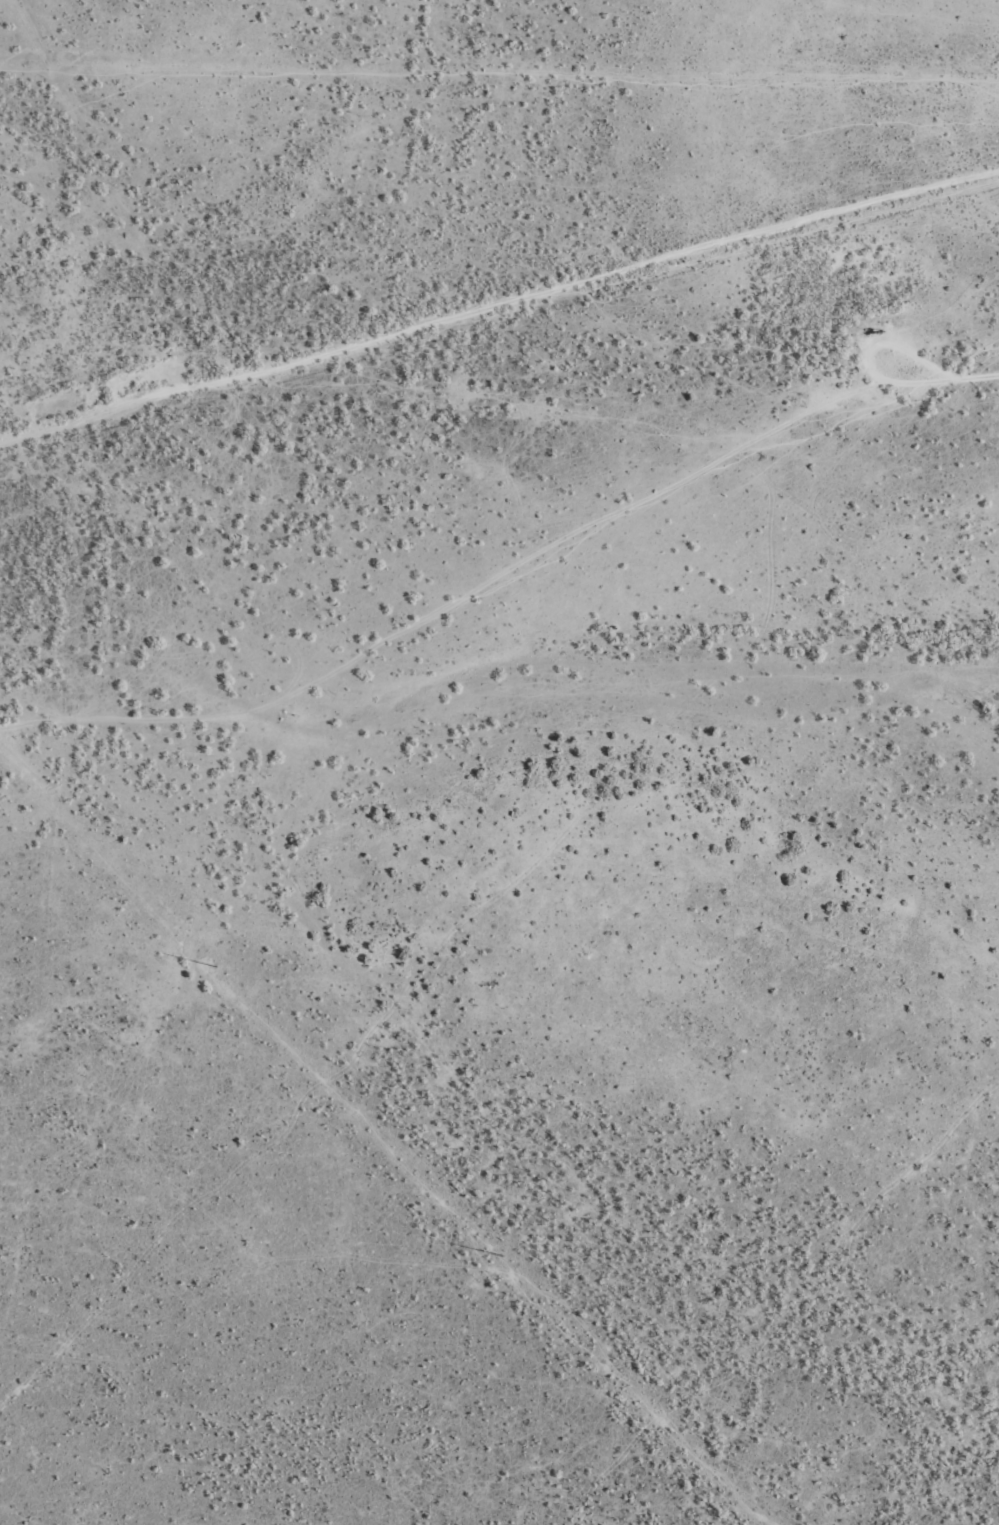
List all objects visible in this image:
road: (503, 307)
power tower: (217, 967)
power tower: (502, 1256)

